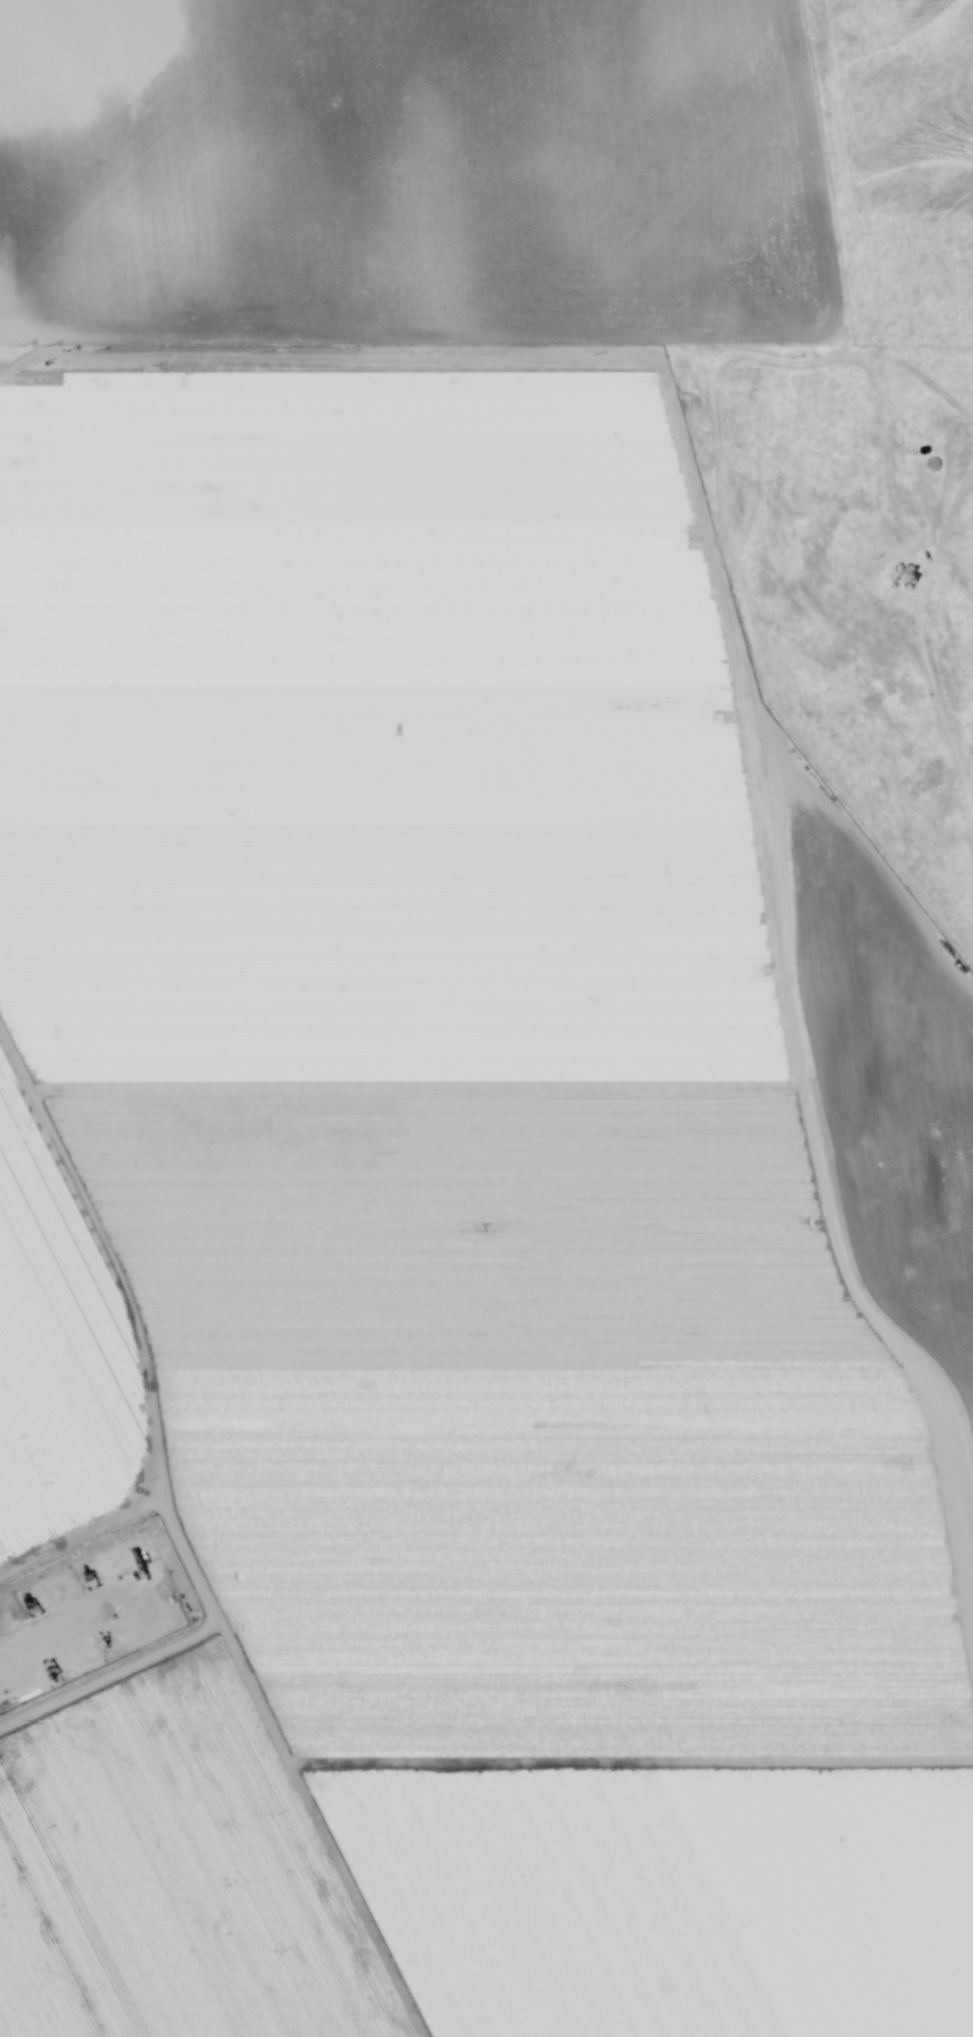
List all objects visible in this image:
road: (921, 342)
crop: (420, 1081)

